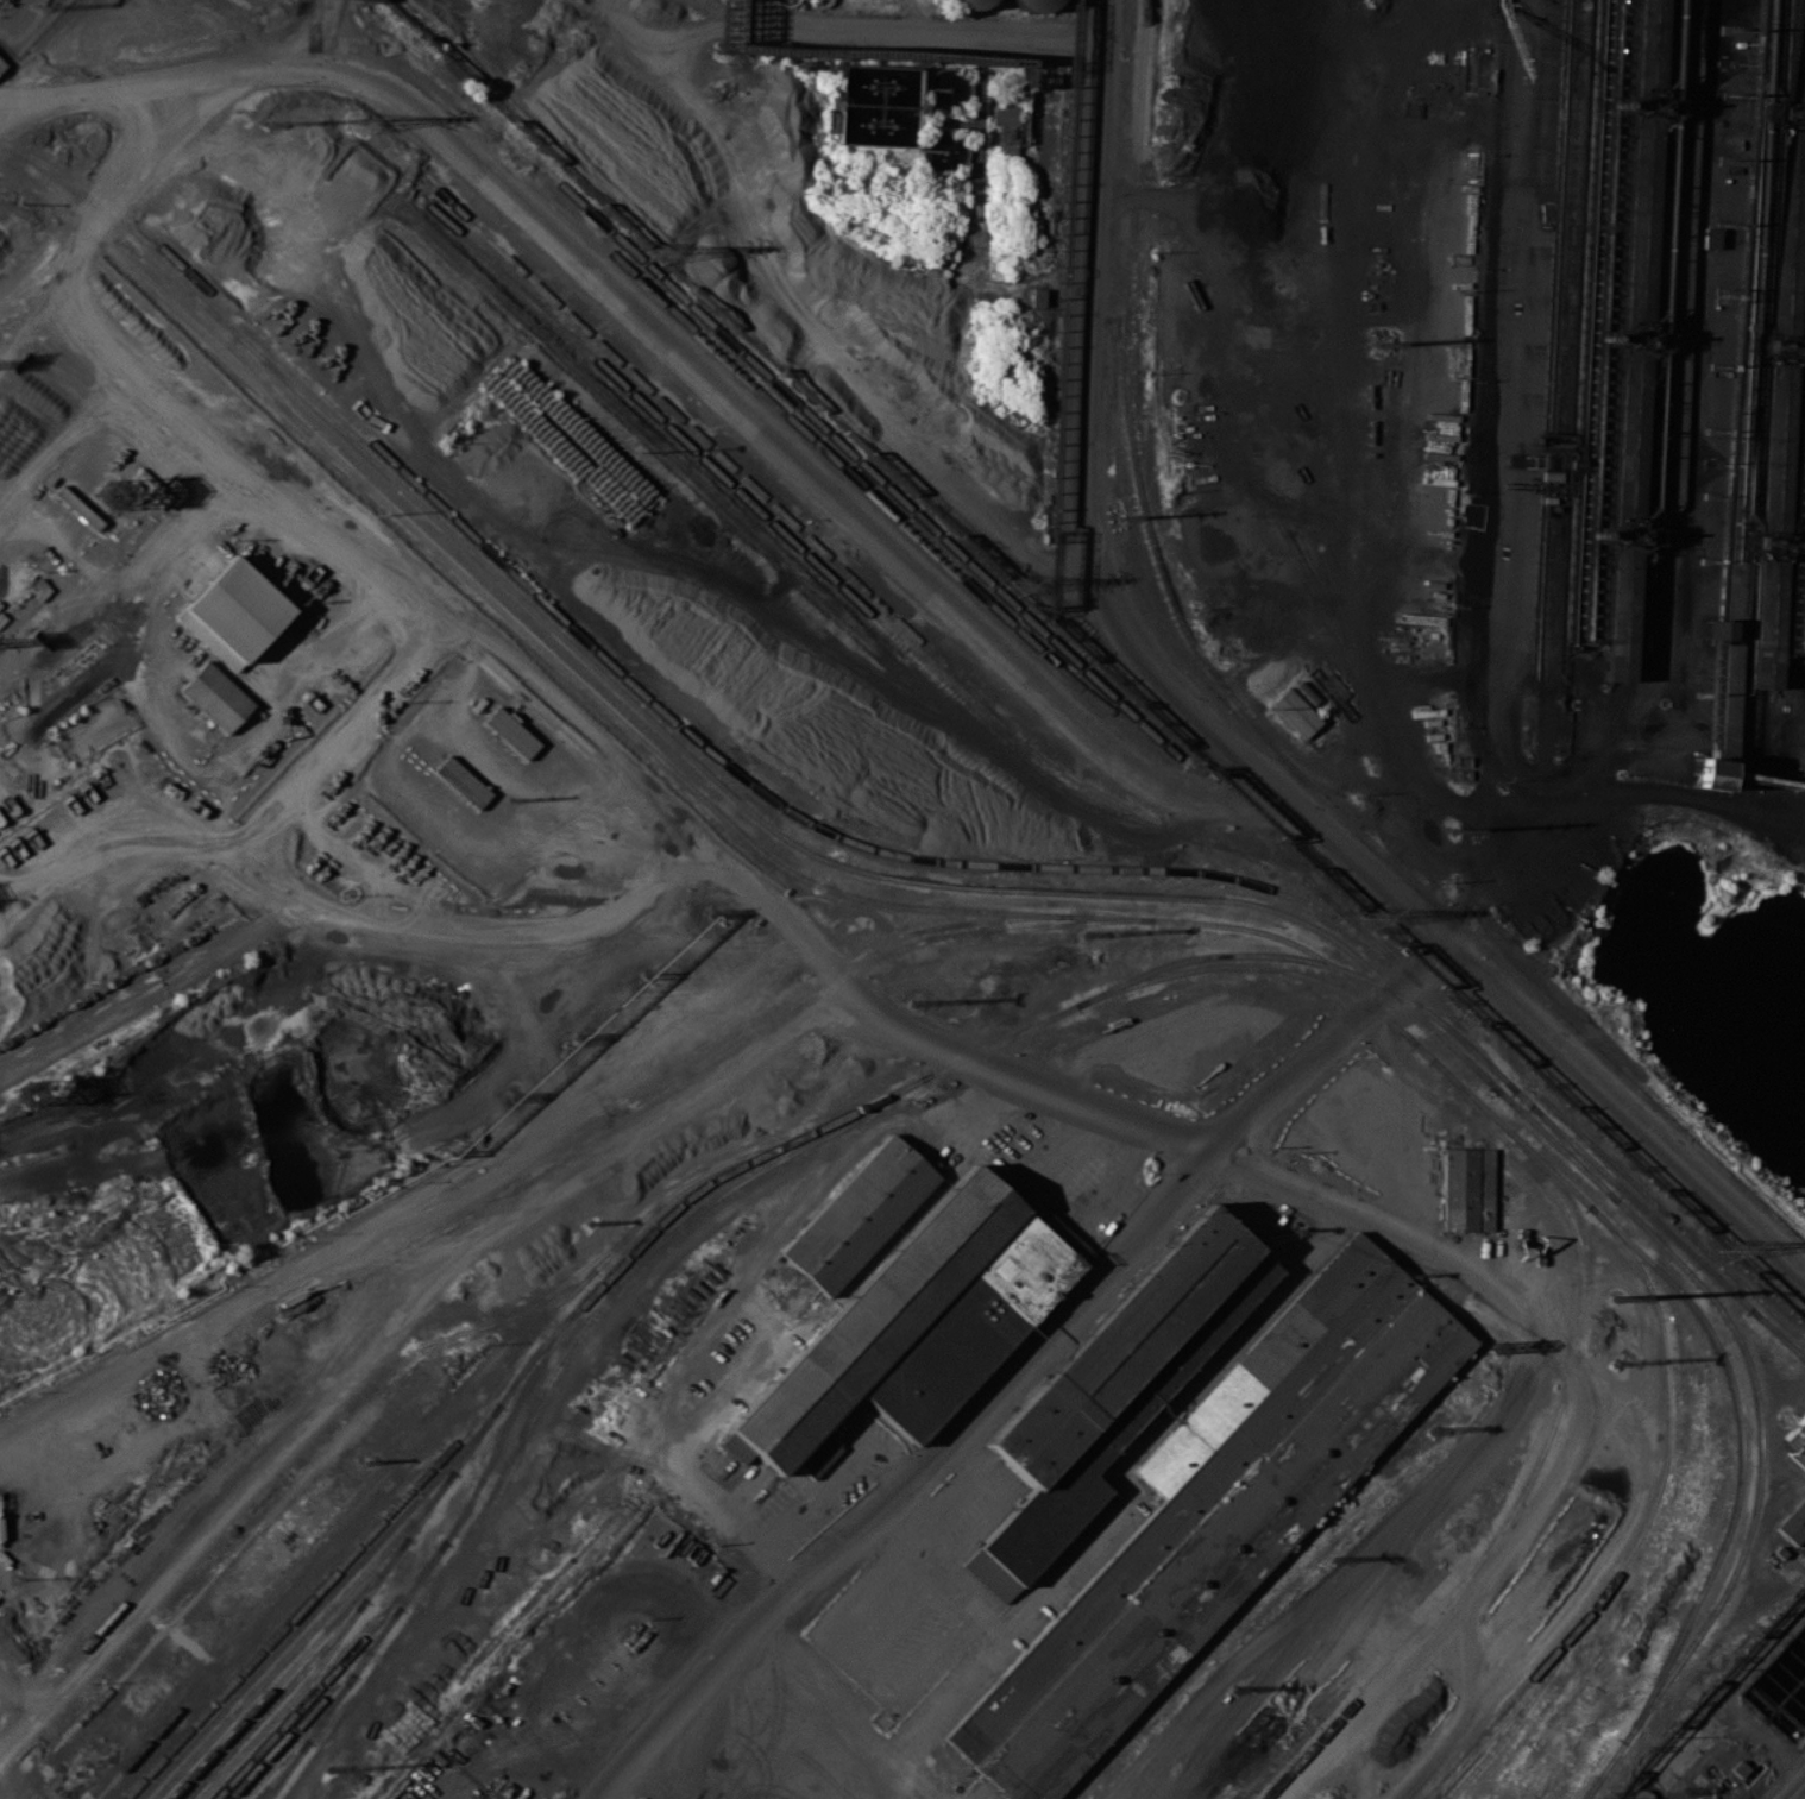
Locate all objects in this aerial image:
building: (969, 2)
building: (1034, 4)
road: (702, 11)
road: (325, 26)
road: (338, 26)
road: (913, 26)
railway: (1644, 44)
building: (1647, 44)
railway: (1794, 52)
building: (1792, 55)
building: (2, 63)
railway: (1642, 101)
road: (7, 112)
railway: (1791, 118)
road: (1428, 138)
road: (482, 162)
road: (1156, 199)
railway: (1636, 219)
building: (1637, 219)
building: (1785, 234)
railway: (1785, 234)
building: (1709, 238)
road: (1220, 322)
railway: (1630, 338)
railway: (731, 345)
railway: (1779, 353)
railway: (251, 363)
road: (1691, 365)
road: (1502, 375)
road: (1333, 378)
railway: (644, 385)
railway: (629, 392)
railway: (320, 413)
railway: (1625, 438)
building: (1628, 438)
building: (1773, 451)
railway: (1774, 451)
railway: (396, 465)
railway: (813, 523)
railway: (1621, 535)
railway: (1769, 549)
railway: (453, 566)
railway: (980, 598)
building: (233, 612)
railway: (1617, 616)
building: (1618, 616)
building: (1765, 627)
railway: (1766, 628)
railway: (910, 634)
railway: (1049, 639)
building: (215, 694)
building: (1291, 713)
railway: (1612, 713)
road: (1080, 721)
railway: (1254, 724)
building: (510, 732)
road: (1225, 740)
railway: (1056, 741)
railway: (1760, 741)
railway: (705, 767)
railway: (1065, 770)
building: (1705, 772)
road: (291, 780)
building: (461, 781)
railway: (1063, 785)
road: (1639, 797)
railway: (791, 813)
road: (109, 836)
railway: (807, 851)
railway: (1057, 867)
railway: (1206, 874)
railway: (919, 881)
railway: (1069, 893)
railway: (1225, 899)
railway: (1043, 913)
road: (2, 916)
railway: (1338, 919)
road: (326, 943)
road: (834, 964)
railway: (1253, 965)
railway: (117, 981)
road: (1402, 982)
railway: (1117, 986)
railway: (1474, 1043)
railway: (1465, 1059)
railway: (696, 1069)
railway: (659, 1077)
road: (1132, 1105)
railway: (813, 1143)
railway: (718, 1168)
railway: (1618, 1170)
building: (1466, 1187)
building: (857, 1210)
road: (780, 1229)
railway: (1617, 1229)
railway: (1667, 1231)
railway: (559, 1287)
railway: (571, 1290)
railway: (604, 1297)
building: (875, 1319)
building: (969, 1323)
road: (392, 1332)
railway: (553, 1345)
building: (1120, 1345)
building: (1262, 1365)
railway: (509, 1367)
railway: (308, 1389)
building: (1130, 1410)
railway: (289, 1423)
building: (1797, 1436)
railway: (334, 1440)
road: (1489, 1451)
railway: (1541, 1451)
building: (819, 1458)
railway: (1646, 1521)
building: (1793, 1521)
railway: (370, 1535)
railway: (465, 1536)
building: (1209, 1537)
railway: (445, 1541)
railway: (375, 1559)
road: (1587, 1570)
railway: (291, 1573)
railway: (357, 1596)
railway: (358, 1609)
railway: (332, 1637)
railway: (366, 1646)
railway: (352, 1647)
railway: (112, 1685)
railway: (1517, 1691)
road: (669, 1716)
railway: (323, 1717)
railway: (224, 1722)
railway: (237, 1725)
railway: (1498, 1726)
railway: (333, 1730)
railway: (240, 1738)
railway: (279, 1742)
railway: (289, 1747)
railway: (289, 1769)
railway: (235, 1776)
railway: (265, 1791)
road: (1797, 1791)

